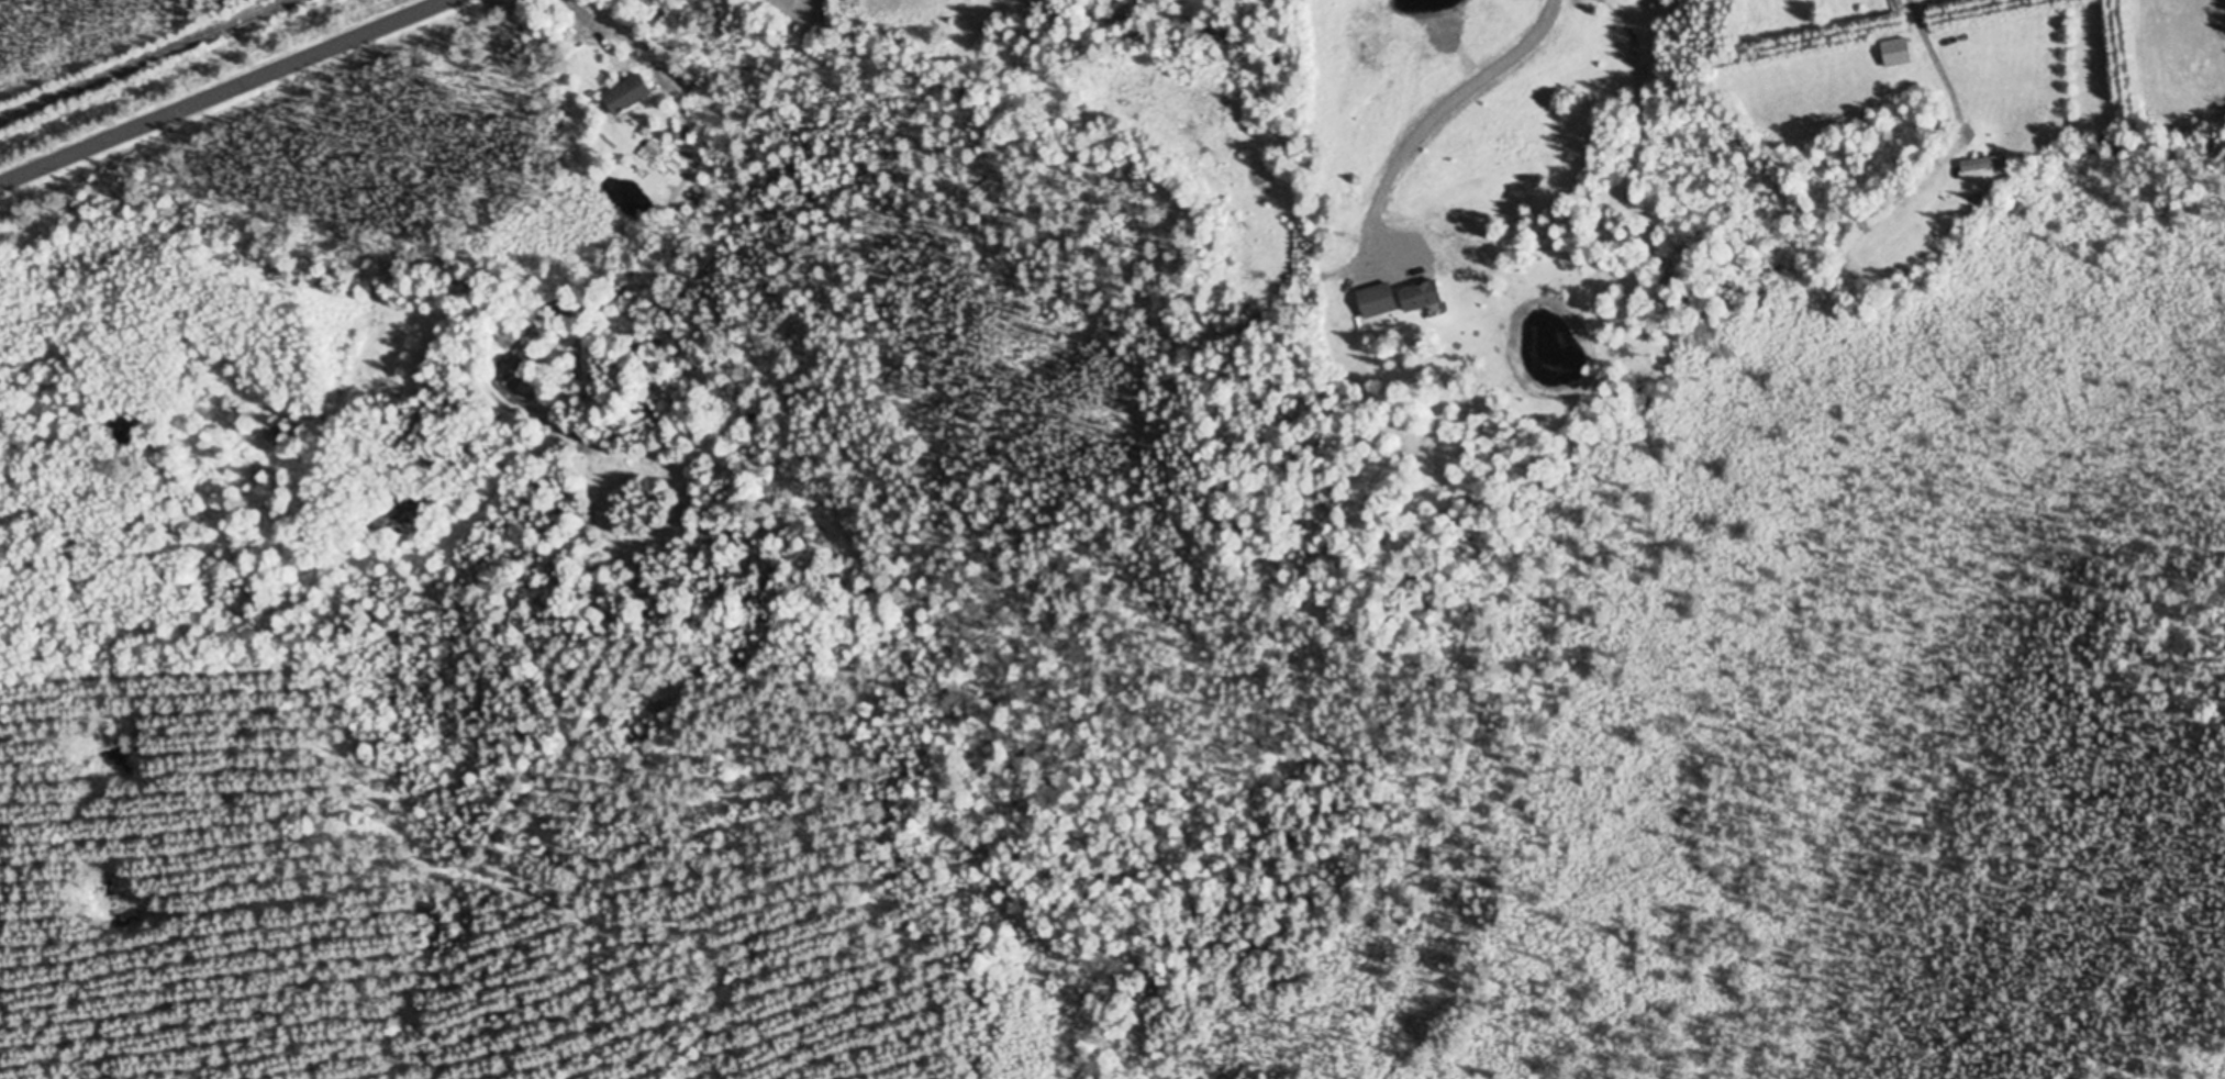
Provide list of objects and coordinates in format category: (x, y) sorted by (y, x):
railway: (146, 60)
road: (224, 92)
building: (625, 97)
building: (1982, 165)
building: (1419, 299)
building: (1376, 303)

